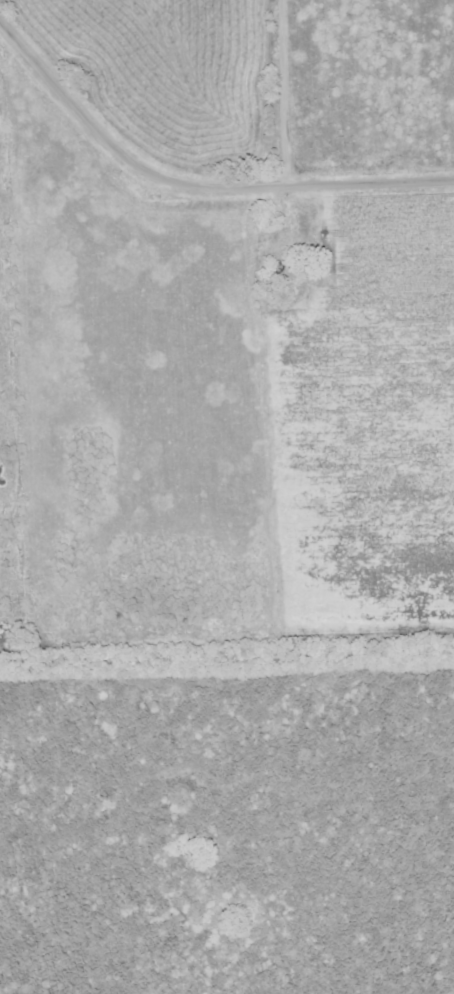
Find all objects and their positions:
road: (194, 185)

